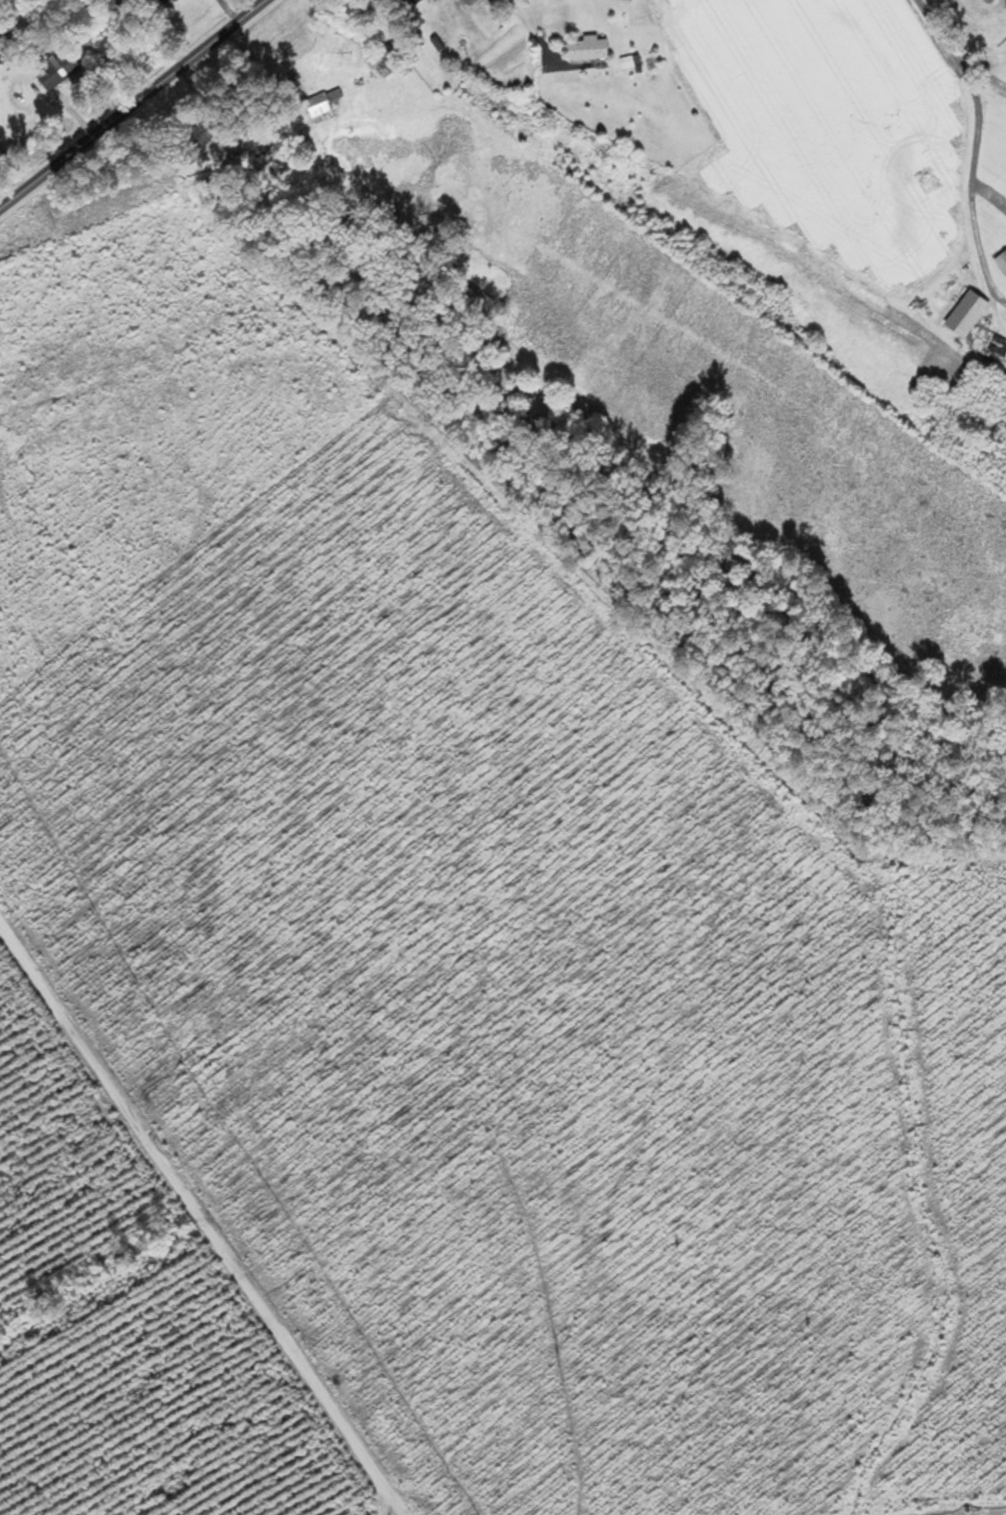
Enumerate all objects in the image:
building: (413, 1)
building: (354, 10)
road: (531, 32)
building: (586, 48)
building: (57, 71)
road: (984, 77)
building: (320, 103)
road: (131, 105)
road: (974, 141)
building: (940, 202)
building: (1001, 262)
road: (197, 1235)
road: (831, 1493)

